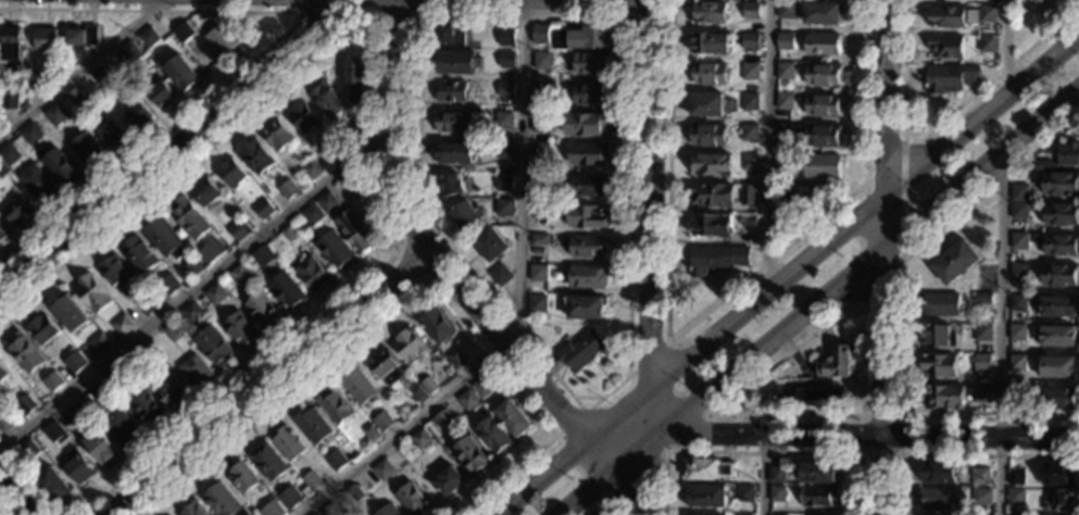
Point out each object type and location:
road: (588, 1)
building: (1037, 1)
road: (127, 5)
building: (785, 10)
building: (751, 11)
building: (711, 13)
building: (821, 13)
road: (335, 14)
road: (394, 14)
building: (987, 14)
road: (641, 16)
building: (946, 16)
building: (181, 32)
building: (450, 35)
building: (540, 35)
building: (83, 36)
building: (148, 37)
building: (507, 37)
building: (584, 37)
building: (45, 39)
building: (221, 39)
building: (751, 40)
building: (785, 41)
building: (711, 43)
building: (988, 43)
building: (187, 45)
building: (823, 45)
road: (1004, 45)
building: (945, 46)
building: (9, 47)
road: (265, 51)
building: (127, 54)
building: (506, 60)
building: (541, 61)
building: (459, 63)
building: (591, 64)
building: (750, 71)
building: (785, 71)
road: (79, 73)
building: (181, 73)
building: (710, 73)
building: (824, 75)
building: (98, 76)
building: (950, 78)
building: (355, 79)
building: (34, 81)
building: (505, 89)
building: (540, 91)
building: (451, 92)
building: (161, 95)
building: (591, 95)
building: (76, 96)
road: (376, 96)
building: (326, 99)
building: (9, 101)
building: (750, 101)
building: (785, 101)
building: (706, 104)
building: (823, 105)
building: (55, 113)
building: (137, 113)
building: (301, 115)
road: (941, 117)
building: (503, 121)
building: (540, 122)
building: (454, 123)
building: (585, 124)
building: (356, 128)
building: (749, 131)
building: (783, 131)
building: (112, 133)
building: (30, 134)
building: (277, 134)
building: (708, 135)
building: (818, 135)
road: (767, 145)
building: (334, 147)
building: (86, 148)
road: (177, 149)
building: (504, 150)
building: (540, 151)
building: (455, 153)
building: (9, 154)
building: (589, 154)
building: (258, 156)
building: (1061, 158)
building: (782, 160)
building: (750, 162)
building: (711, 164)
building: (61, 166)
building: (820, 166)
building: (310, 168)
building: (2, 169)
building: (230, 173)
building: (539, 181)
building: (503, 183)
building: (1058, 183)
building: (37, 184)
building: (451, 185)
building: (590, 186)
building: (287, 189)
building: (205, 191)
building: (1019, 193)
building: (713, 194)
building: (749, 194)
road: (902, 196)
building: (801, 197)
building: (326, 202)
building: (504, 208)
road: (864, 208)
building: (16, 209)
building: (263, 209)
building: (540, 211)
building: (1019, 211)
building: (312, 214)
building: (465, 215)
building: (1061, 215)
building: (586, 216)
building: (190, 217)
building: (749, 221)
building: (782, 221)
building: (711, 225)
building: (237, 229)
building: (354, 230)
building: (288, 234)
building: (2, 235)
building: (164, 238)
building: (539, 239)
building: (1019, 240)
building: (490, 243)
building: (1057, 244)
building: (588, 247)
building: (335, 249)
building: (210, 252)
road: (397, 252)
building: (140, 254)
building: (263, 256)
road: (884, 256)
road: (650, 257)
building: (717, 259)
building: (955, 262)
road: (411, 263)
building: (193, 267)
road: (441, 267)
building: (311, 272)
building: (1018, 272)
building: (117, 273)
building: (538, 273)
building: (240, 274)
building: (1059, 274)
building: (500, 275)
road: (787, 275)
building: (588, 276)
building: (168, 284)
road: (868, 285)
road: (196, 288)
building: (287, 290)
building: (93, 292)
road: (409, 292)
building: (215, 293)
road: (819, 299)
building: (982, 299)
building: (1018, 302)
building: (146, 303)
building: (538, 304)
building: (942, 304)
building: (1059, 305)
building: (586, 307)
road: (520, 309)
building: (262, 310)
building: (192, 313)
road: (900, 313)
building: (71, 314)
road: (701, 317)
building: (123, 325)
building: (436, 325)
building: (42, 328)
building: (241, 328)
road: (1003, 330)
building: (173, 331)
building: (1017, 331)
building: (982, 332)
building: (938, 335)
building: (1057, 336)
road: (628, 339)
building: (100, 342)
building: (214, 346)
building: (409, 346)
building: (148, 350)
building: (24, 351)
building: (581, 351)
building: (456, 359)
building: (984, 359)
building: (75, 362)
road: (647, 362)
building: (836, 363)
building: (1017, 363)
building: (939, 365)
building: (1059, 366)
building: (386, 367)
building: (195, 369)
building: (3, 370)
building: (116, 378)
building: (806, 380)
building: (54, 381)
road: (272, 385)
building: (429, 385)
road: (651, 386)
building: (359, 387)
building: (482, 387)
building: (99, 391)
building: (173, 392)
building: (418, 393)
building: (1015, 393)
building: (981, 394)
building: (945, 397)
building: (467, 399)
building: (814, 399)
building: (1058, 399)
building: (25, 404)
road: (576, 405)
road: (593, 405)
building: (147, 406)
building: (335, 406)
building: (76, 412)
road: (767, 416)
building: (443, 418)
building: (513, 418)
building: (5, 420)
building: (382, 420)
building: (312, 425)
road: (568, 425)
building: (123, 427)
road: (852, 431)
building: (54, 432)
building: (372, 432)
building: (493, 435)
building: (421, 438)
building: (287, 443)
building: (99, 447)
building: (27, 450)
road: (762, 453)
building: (469, 454)
road: (896, 454)
road: (957, 454)
building: (336, 460)
building: (268, 461)
building: (76, 465)
building: (382, 469)
building: (711, 469)
road: (763, 472)
building: (939, 472)
building: (819, 473)
road: (641, 474)
building: (1058, 474)
building: (777, 475)
building: (980, 476)
building: (1015, 476)
building: (242, 477)
building: (311, 479)
building: (449, 480)
road: (25, 482)
building: (53, 485)
building: (354, 492)
building: (745, 493)
building: (778, 493)
building: (706, 495)
building: (818, 495)
building: (1016, 495)
building: (289, 497)
building: (981, 497)
road: (12, 499)
building: (413, 499)
building: (941, 499)
building: (1062, 499)
building: (222, 501)
road: (604, 504)
building: (195, 508)
building: (276, 508)
building: (330, 510)
building: (388, 510)
building: (315, 514)
building: (317, 514)
building: (716, 514)
building: (743, 514)

